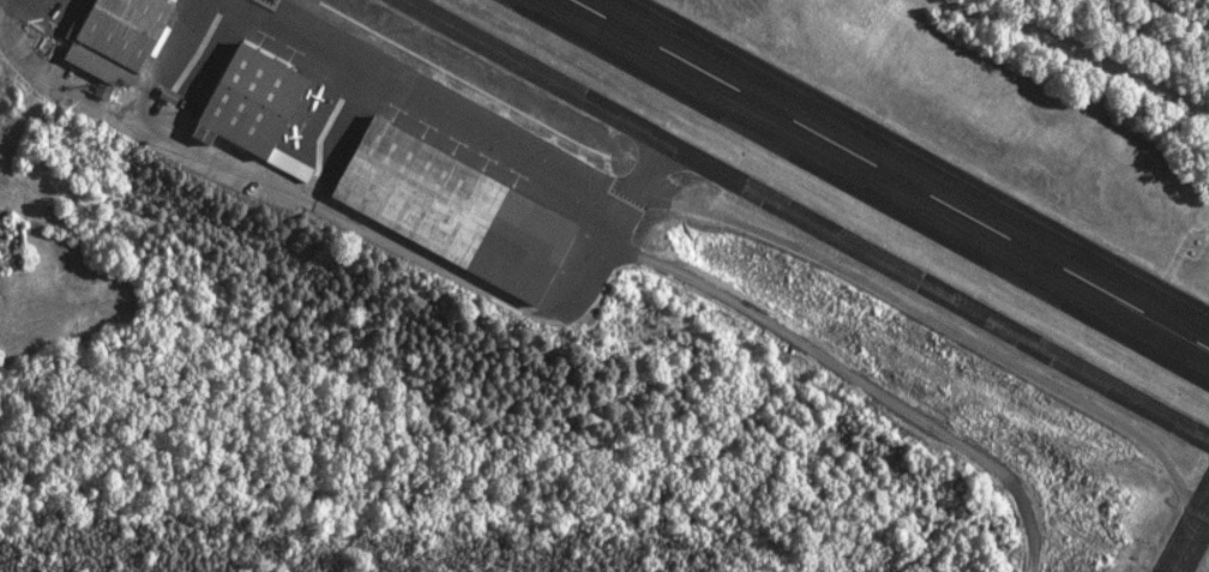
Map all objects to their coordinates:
airport hangar: (112, 32)
building: (112, 32)
airport hangar: (243, 92)
building: (243, 92)
airport apron: (330, 137)
airport runway: (925, 153)
airport runway: (850, 195)
airport hangar: (446, 201)
building: (446, 201)
airport taxiway: (807, 221)
airport: (604, 285)
airport taxiway: (1191, 538)

